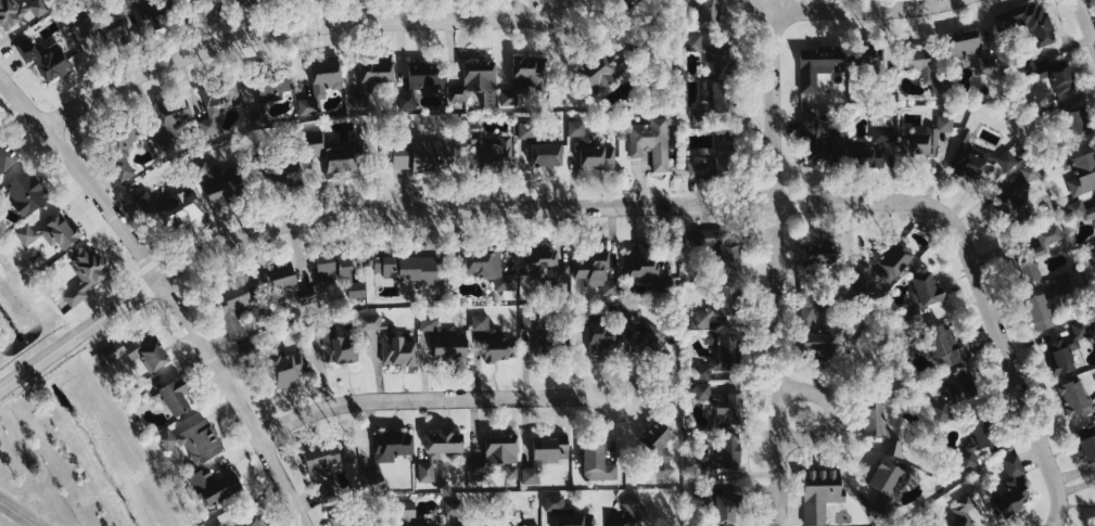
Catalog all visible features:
road: (1092, 8)
road: (863, 11)
building: (710, 12)
building: (20, 14)
building: (138, 14)
building: (1027, 23)
road: (293, 30)
building: (99, 34)
building: (967, 51)
building: (712, 54)
building: (42, 63)
building: (1028, 66)
building: (819, 67)
building: (873, 68)
building: (919, 68)
building: (598, 72)
building: (478, 77)
building: (1058, 77)
building: (369, 78)
building: (522, 78)
building: (319, 86)
building: (418, 86)
building: (268, 91)
building: (218, 97)
building: (711, 101)
road: (772, 107)
building: (1075, 121)
building: (170, 123)
building: (527, 130)
building: (649, 142)
building: (820, 145)
building: (917, 145)
building: (119, 147)
building: (589, 149)
building: (874, 149)
building: (488, 150)
building: (333, 154)
building: (540, 154)
building: (5, 156)
building: (415, 157)
building: (977, 162)
building: (715, 163)
building: (1075, 170)
building: (283, 175)
building: (218, 184)
building: (23, 193)
building: (1015, 198)
building: (178, 209)
road: (453, 210)
building: (1079, 211)
building: (26, 233)
building: (59, 233)
building: (717, 249)
building: (818, 253)
building: (1091, 255)
building: (1021, 257)
building: (540, 265)
building: (891, 266)
building: (486, 267)
building: (646, 268)
building: (404, 269)
building: (595, 270)
building: (334, 271)
building: (84, 274)
building: (866, 279)
building: (279, 281)
building: (1058, 288)
road: (166, 291)
building: (920, 296)
building: (309, 299)
building: (238, 304)
building: (717, 307)
building: (1037, 312)
building: (806, 316)
building: (640, 333)
building: (545, 336)
building: (598, 337)
building: (492, 343)
building: (331, 344)
building: (390, 344)
building: (443, 344)
building: (943, 345)
building: (816, 346)
building: (1067, 346)
building: (137, 351)
building: (718, 356)
road: (776, 364)
building: (285, 370)
road: (1014, 371)
building: (955, 386)
building: (140, 396)
building: (173, 398)
building: (1074, 398)
road: (435, 399)
building: (720, 403)
building: (943, 411)
road: (794, 414)
building: (871, 415)
building: (976, 440)
building: (192, 441)
building: (655, 441)
building: (1086, 442)
building: (389, 445)
building: (893, 447)
building: (900, 447)
building: (727, 450)
building: (500, 457)
building: (543, 457)
building: (595, 462)
building: (321, 469)
building: (484, 469)
building: (424, 472)
building: (532, 476)
building: (884, 477)
building: (211, 487)
building: (1011, 488)
building: (818, 493)
building: (633, 506)
building: (454, 508)
building: (963, 508)
building: (724, 509)
road: (18, 513)
building: (408, 513)
building: (566, 513)
building: (508, 516)
building: (338, 518)
building: (251, 523)
building: (218, 524)
building: (430, 525)
building: (472, 525)
building: (622, 525)
building: (627, 525)

